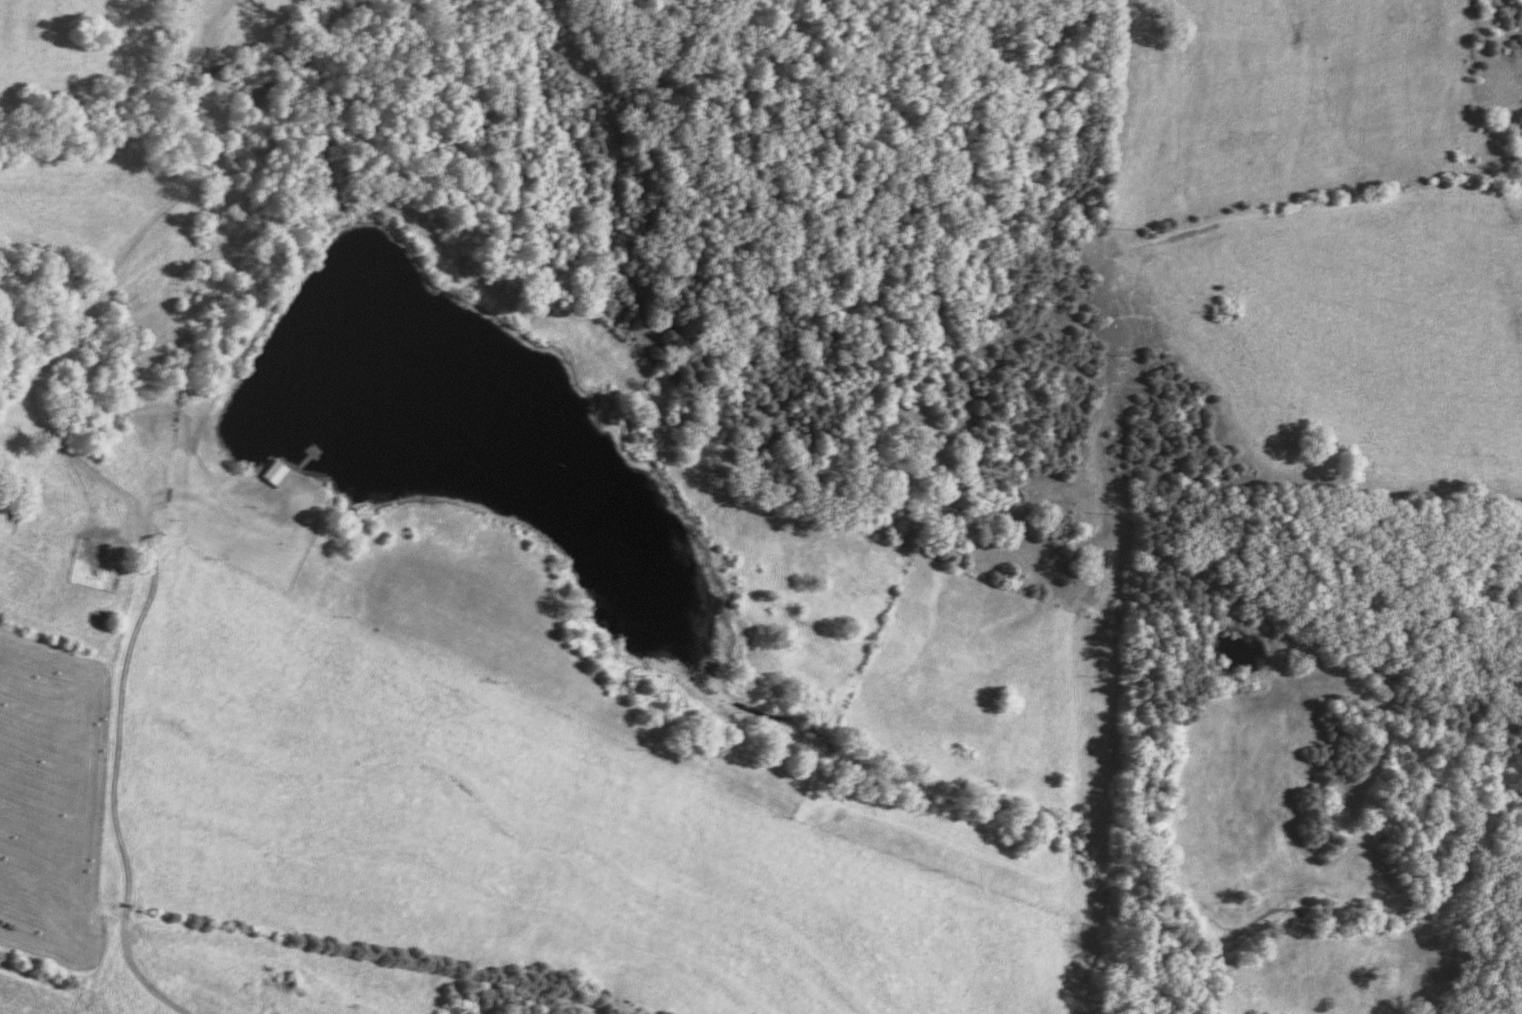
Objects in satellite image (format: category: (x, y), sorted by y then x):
building: (275, 477)
road: (120, 712)

